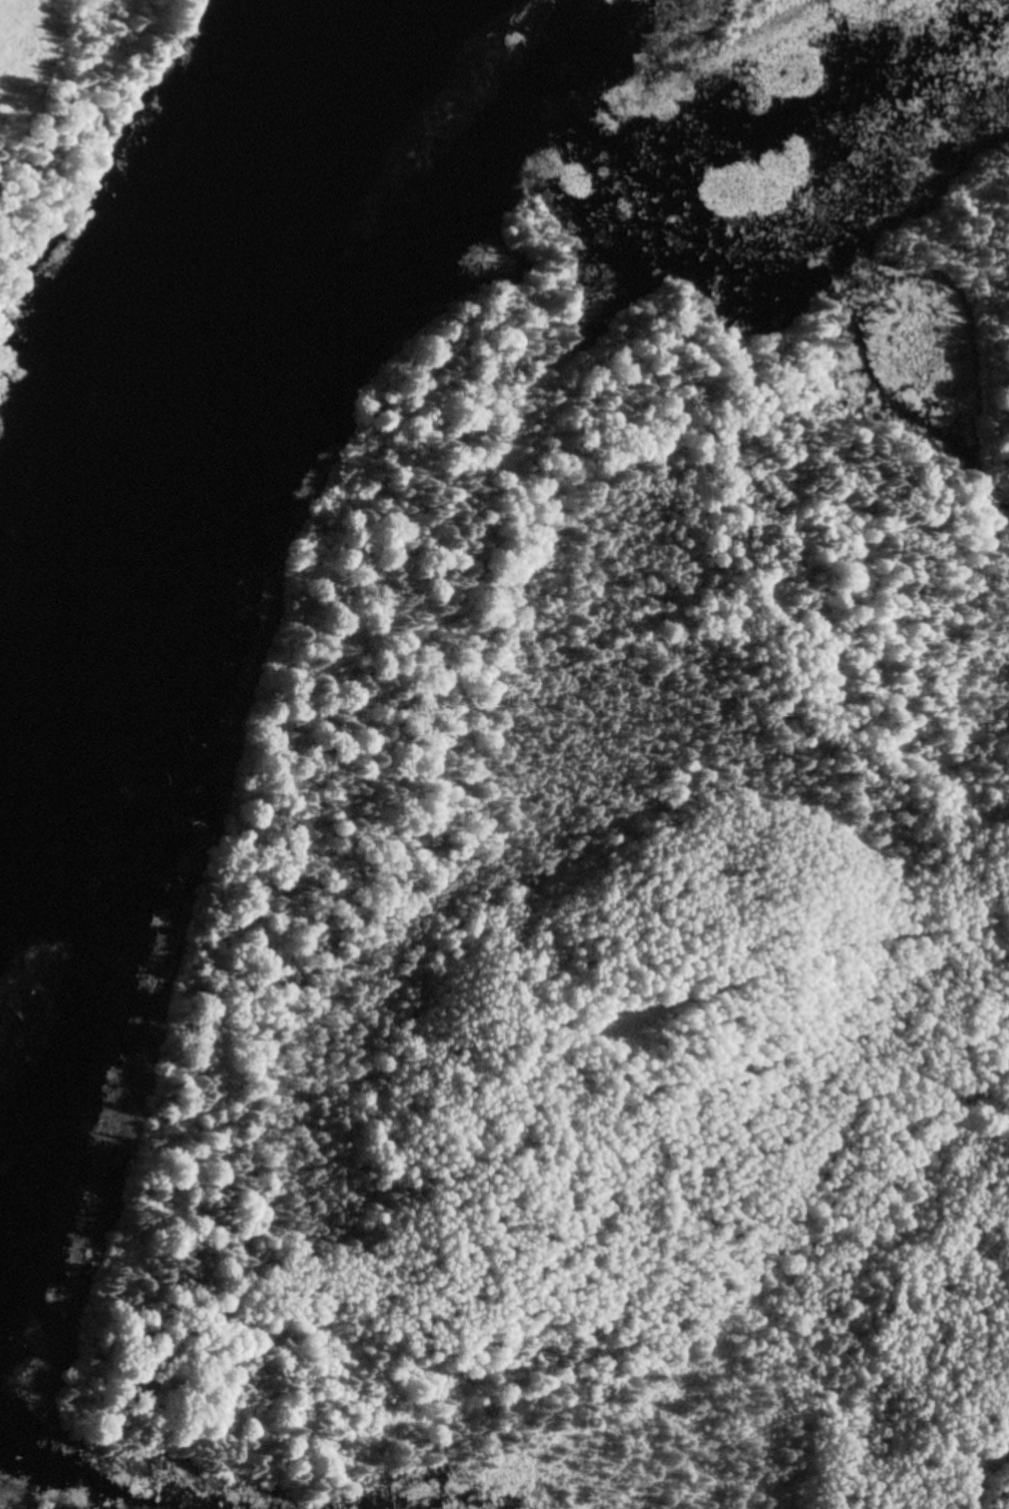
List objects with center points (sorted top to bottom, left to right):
river: (175, 389)

